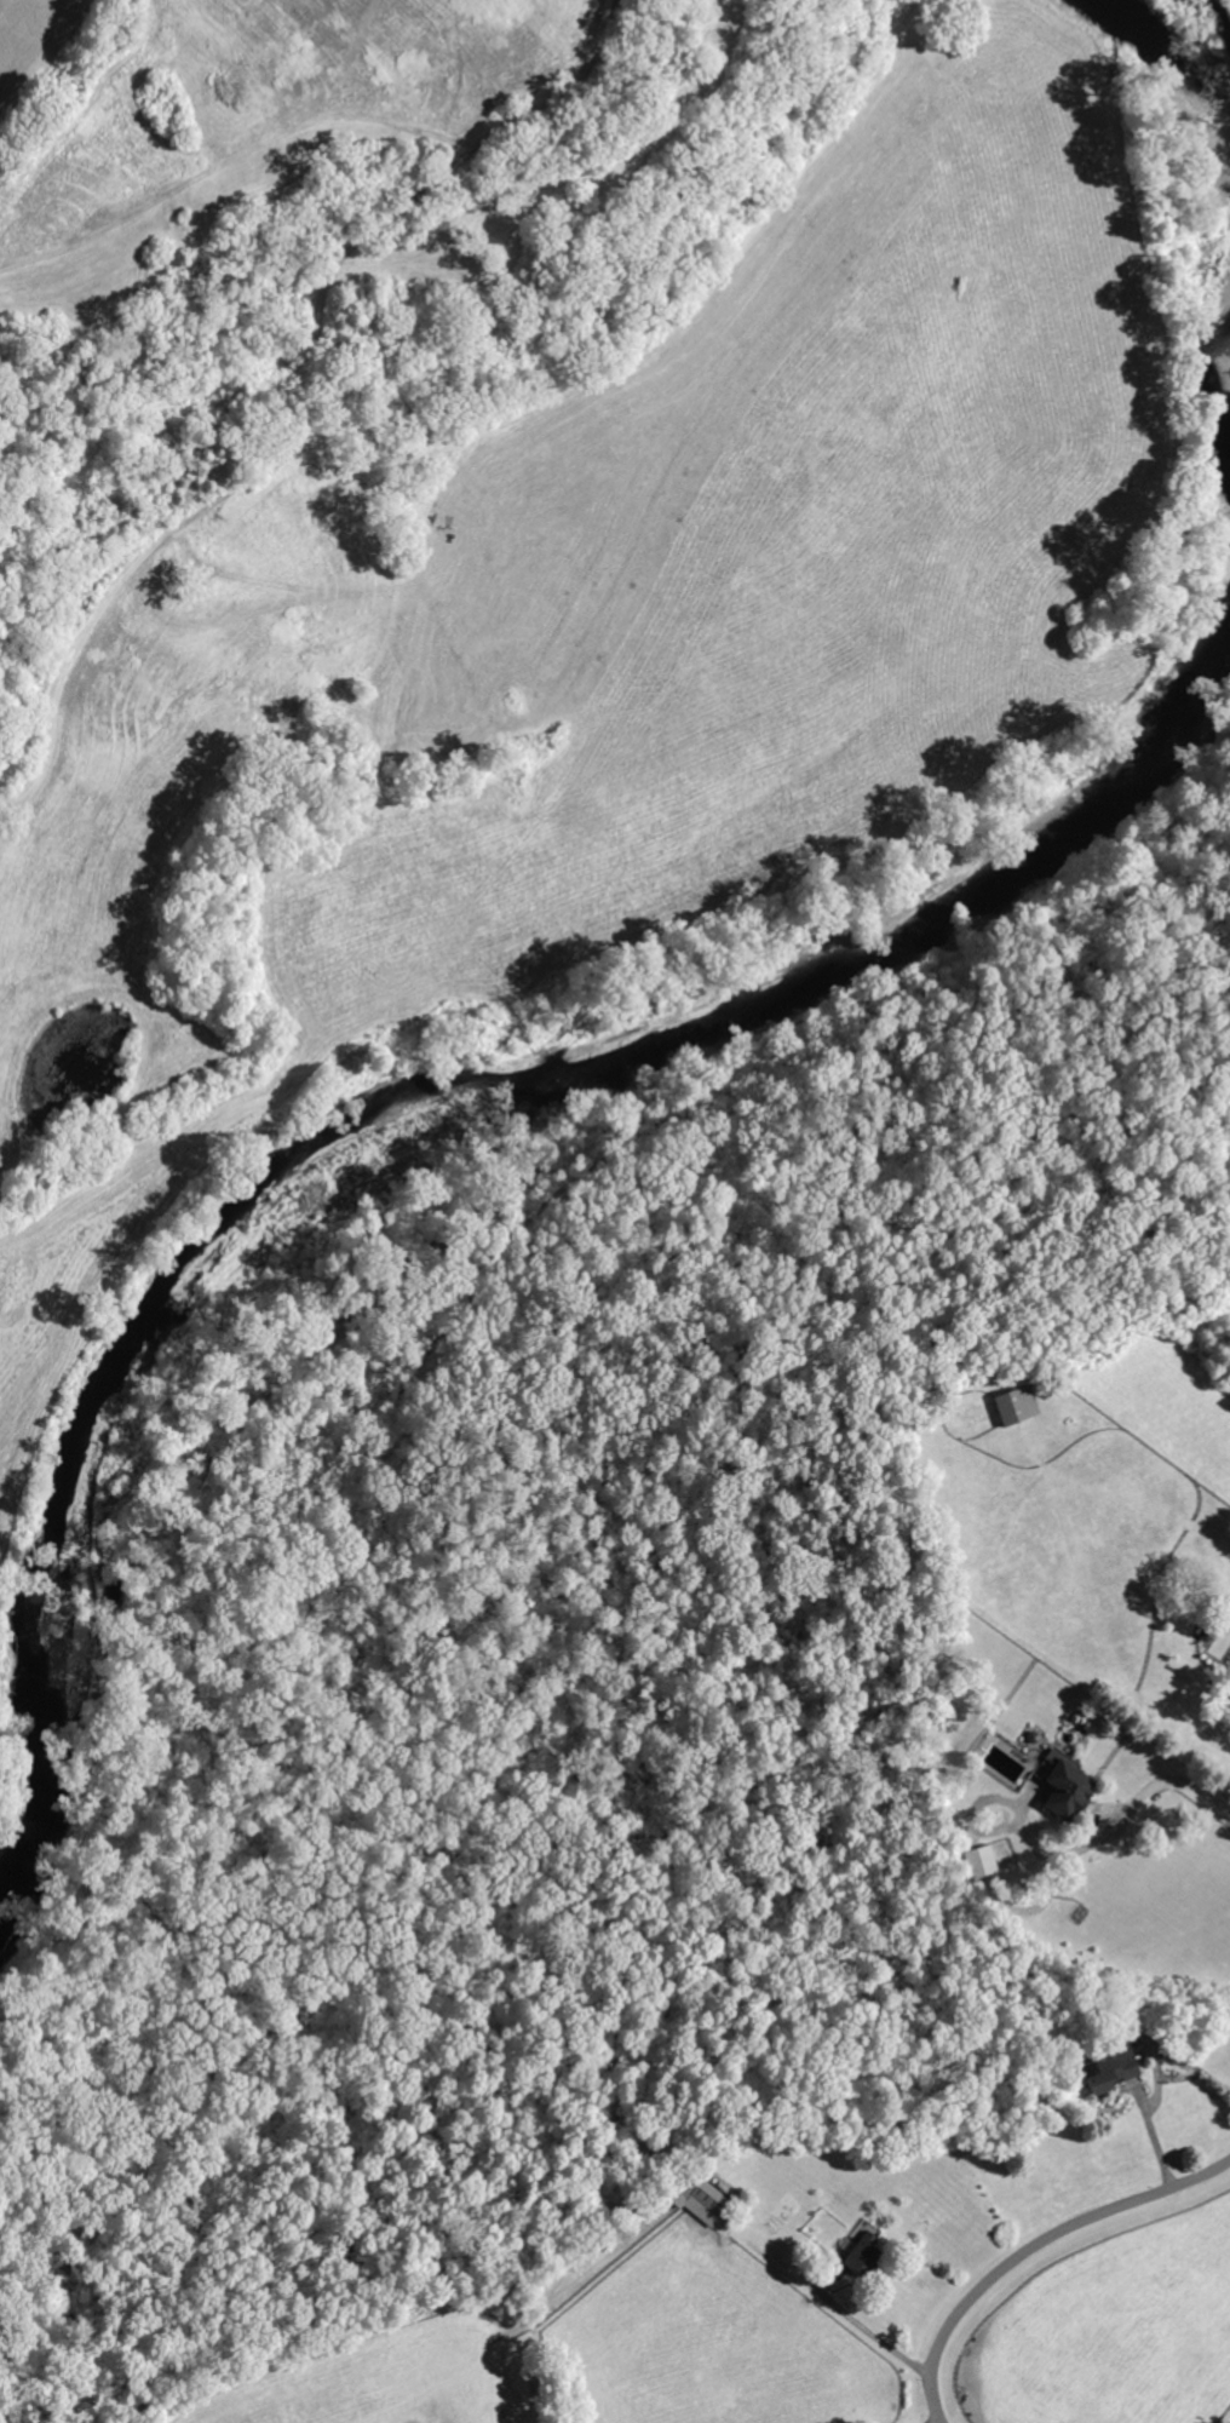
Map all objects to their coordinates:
river: (1220, 28)
river: (412, 1091)
building: (1016, 1405)
building: (1203, 1633)
building: (1226, 1692)
road: (1166, 1785)
building: (1067, 1788)
building: (979, 1861)
building: (1109, 2068)
building: (695, 2198)
road: (1040, 2243)
building: (858, 2252)
road: (876, 2336)
road: (948, 2416)
road: (944, 2421)

